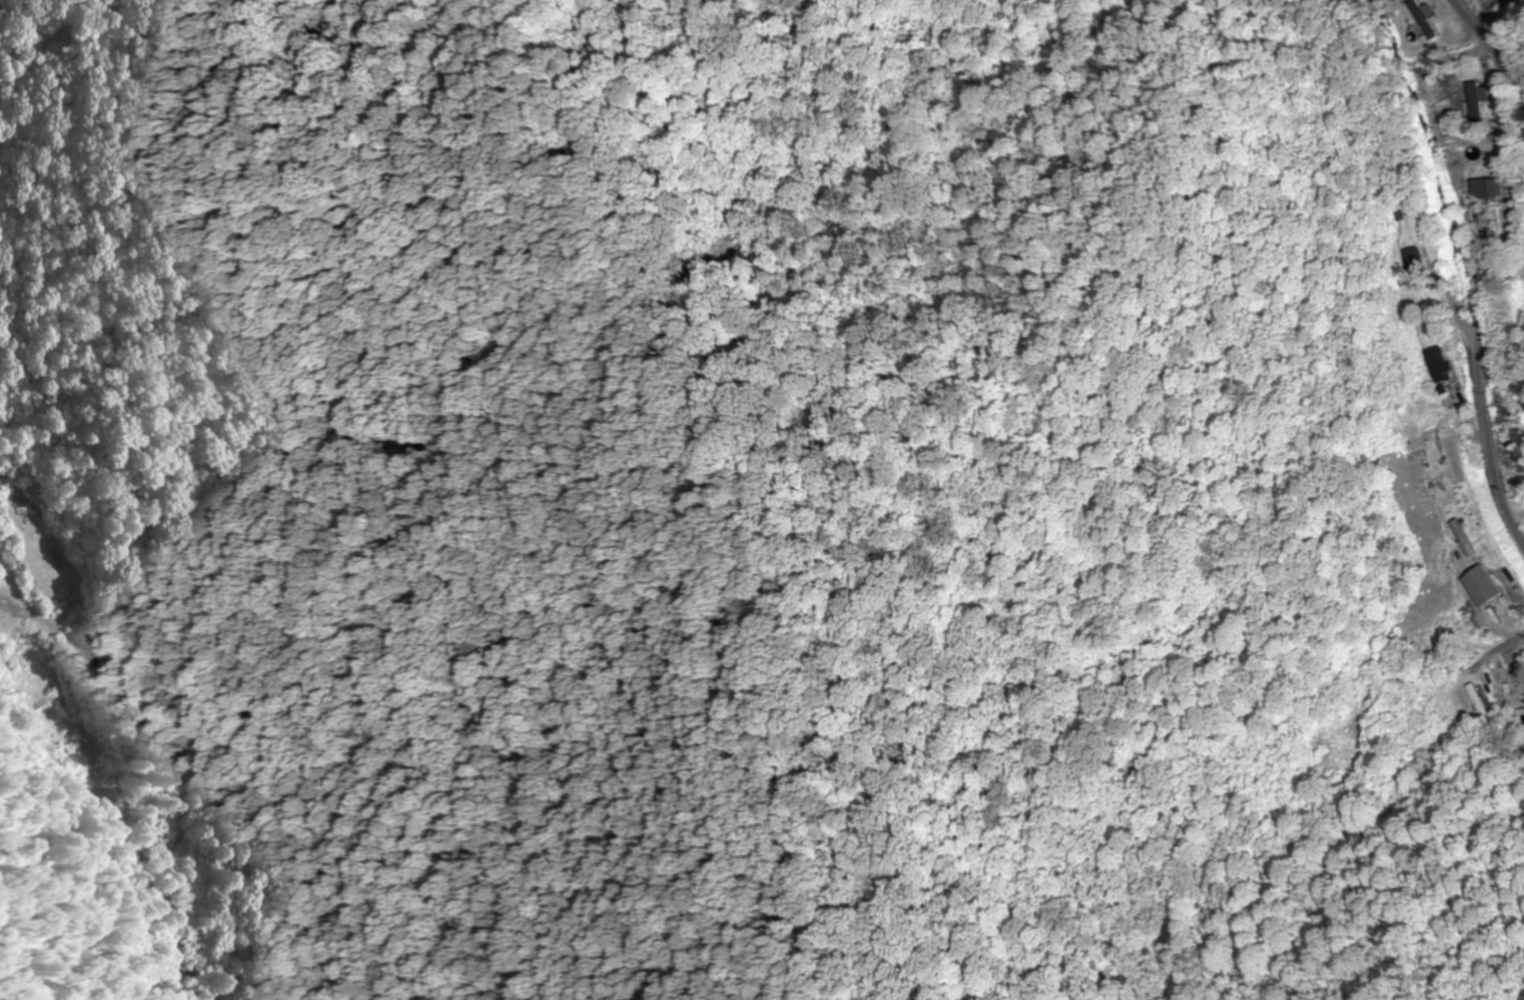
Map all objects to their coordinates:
building: (1475, 103)
building: (1460, 170)
building: (1488, 188)
road: (1492, 274)
building: (1440, 364)
building: (1465, 535)
building: (1488, 586)
road: (28, 591)
building: (1482, 699)
building: (1440, 708)
building: (56, 719)

